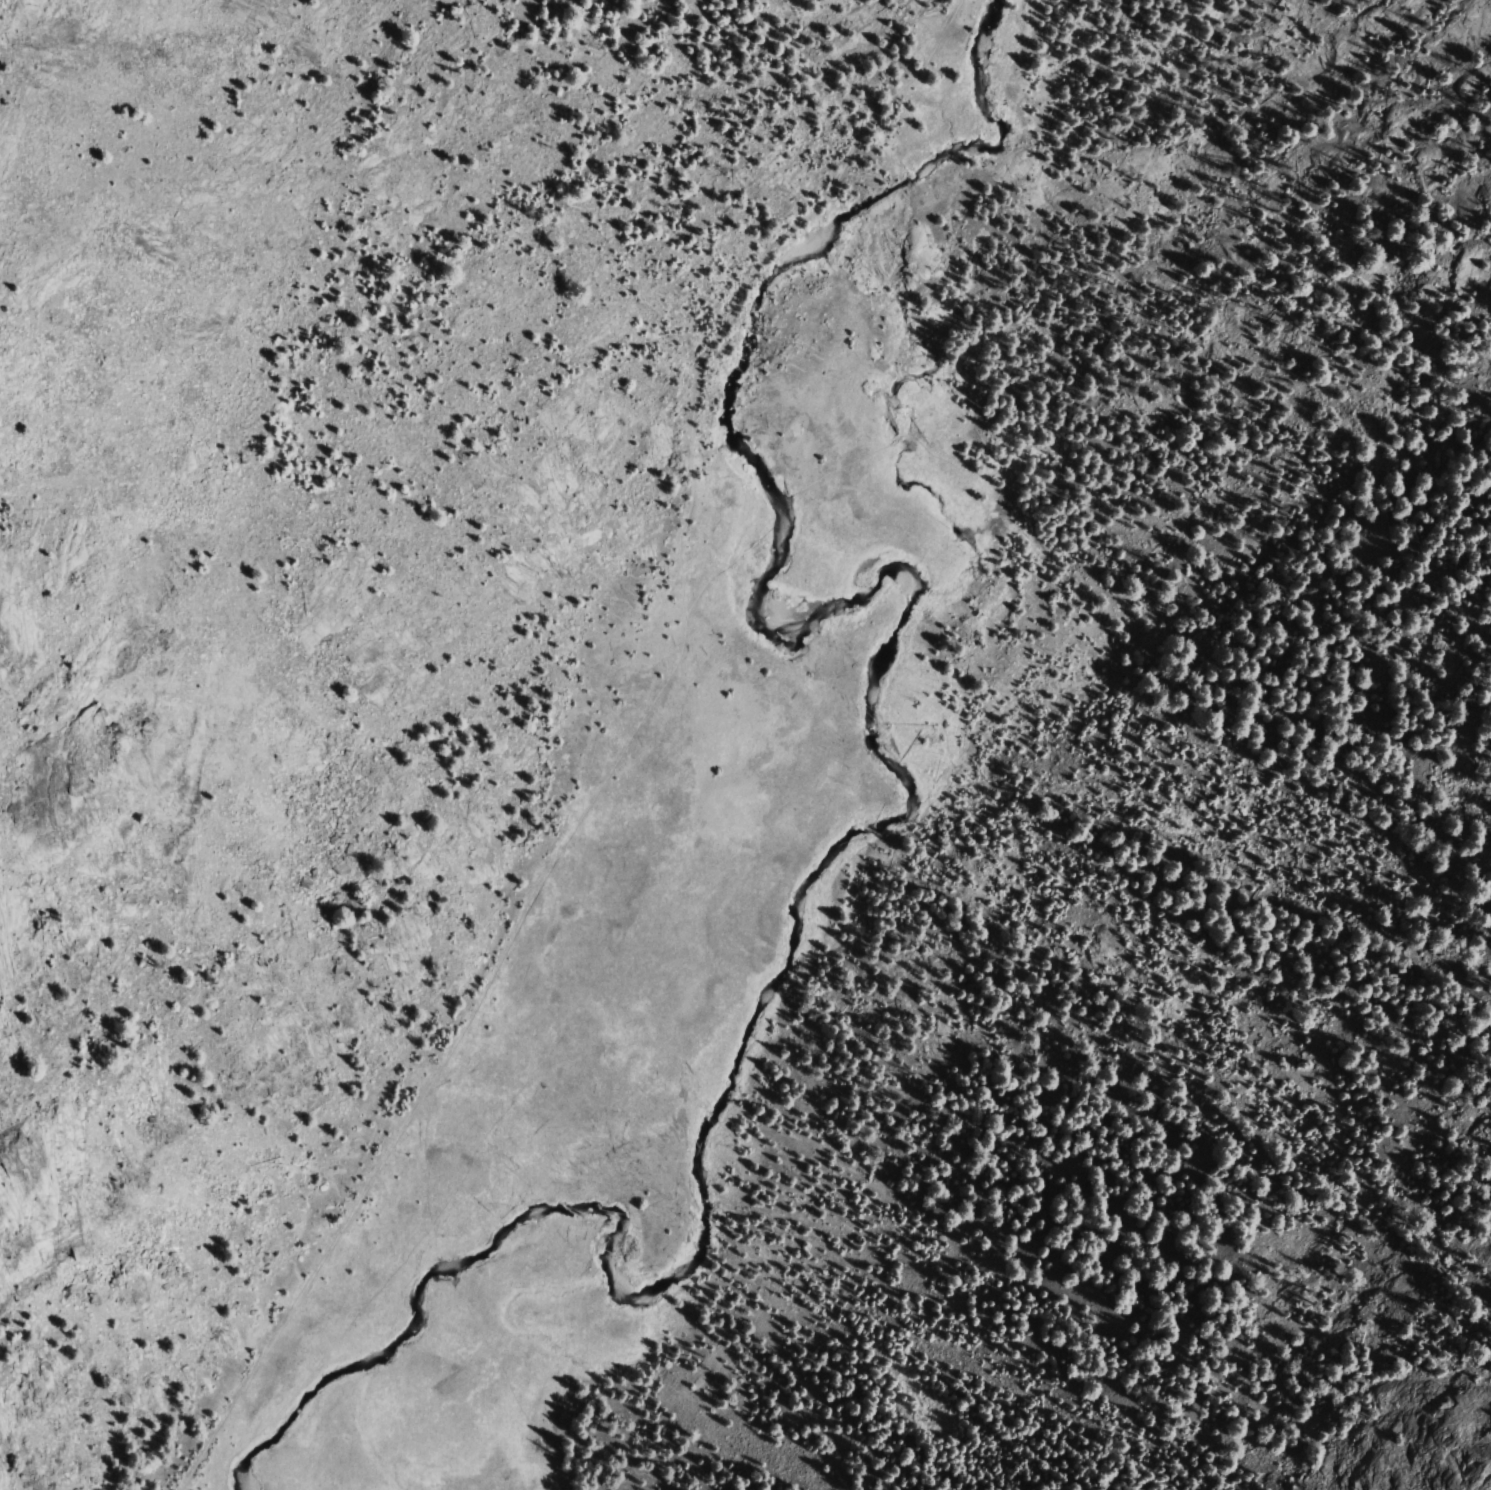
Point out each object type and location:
road: (619, 755)

